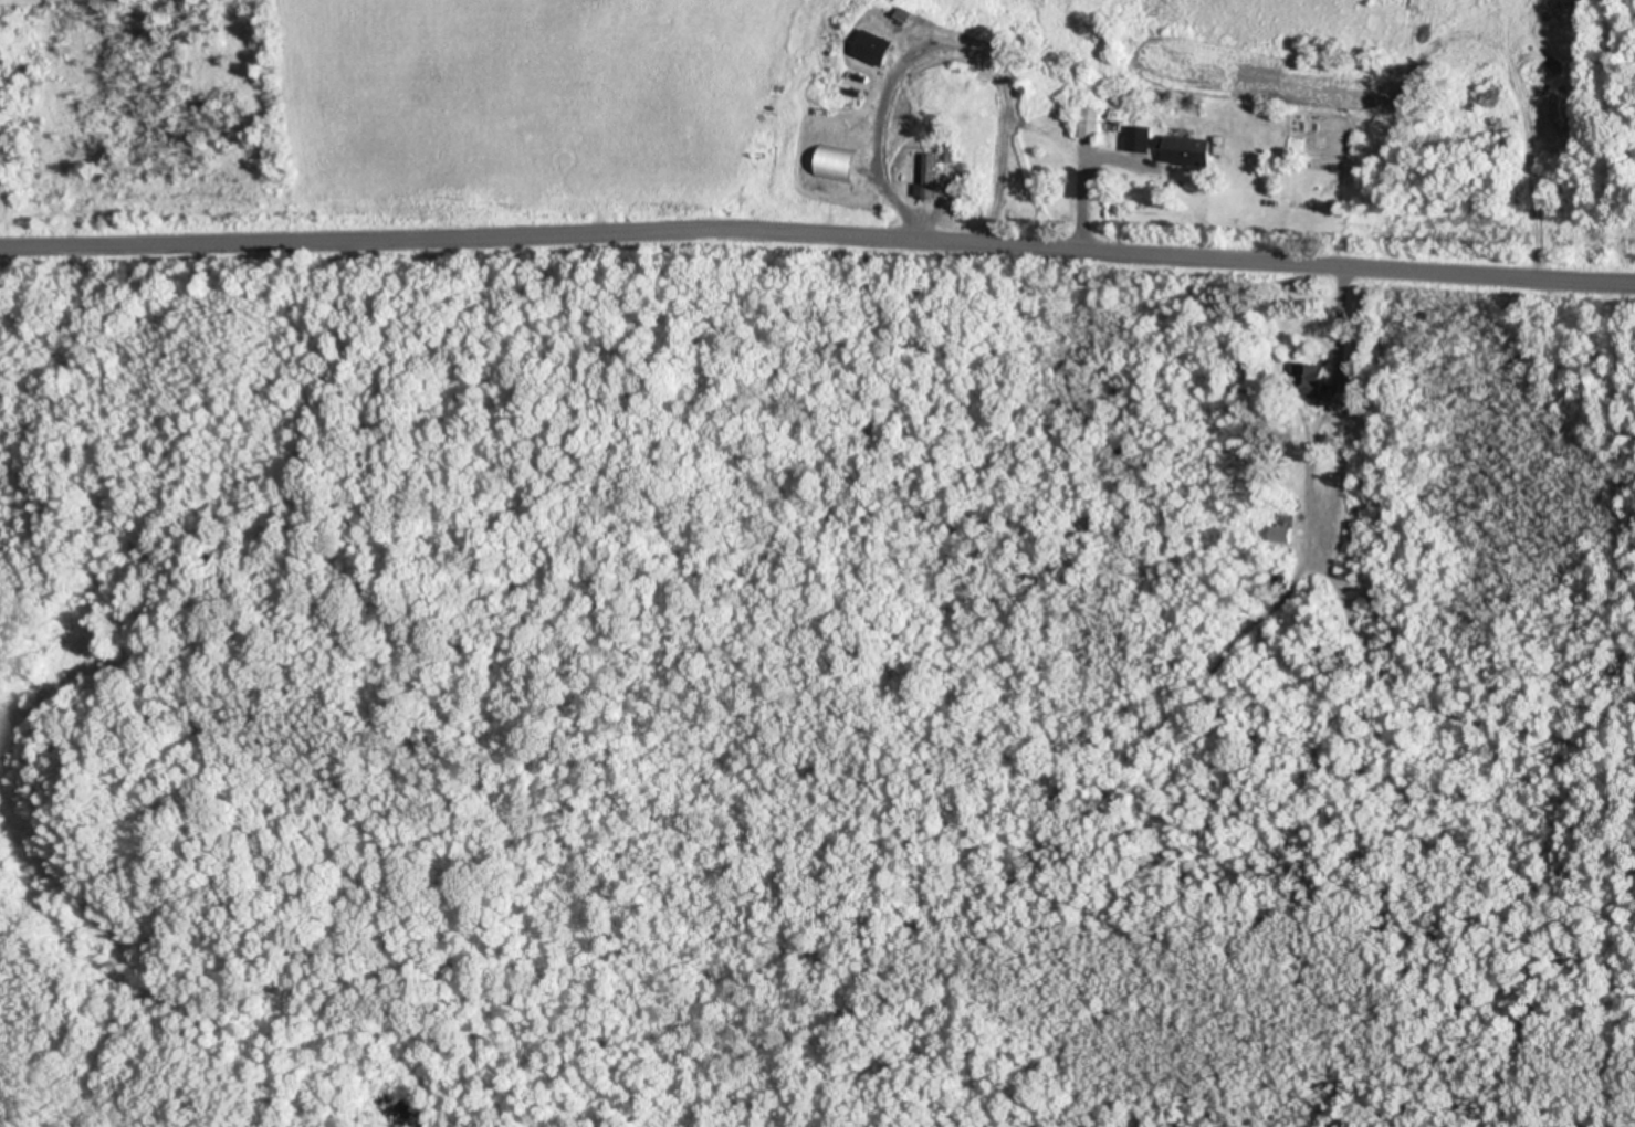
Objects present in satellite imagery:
building: (876, 46)
building: (1092, 124)
building: (1170, 145)
building: (930, 177)
building: (841, 178)
road: (817, 236)
building: (1311, 379)

